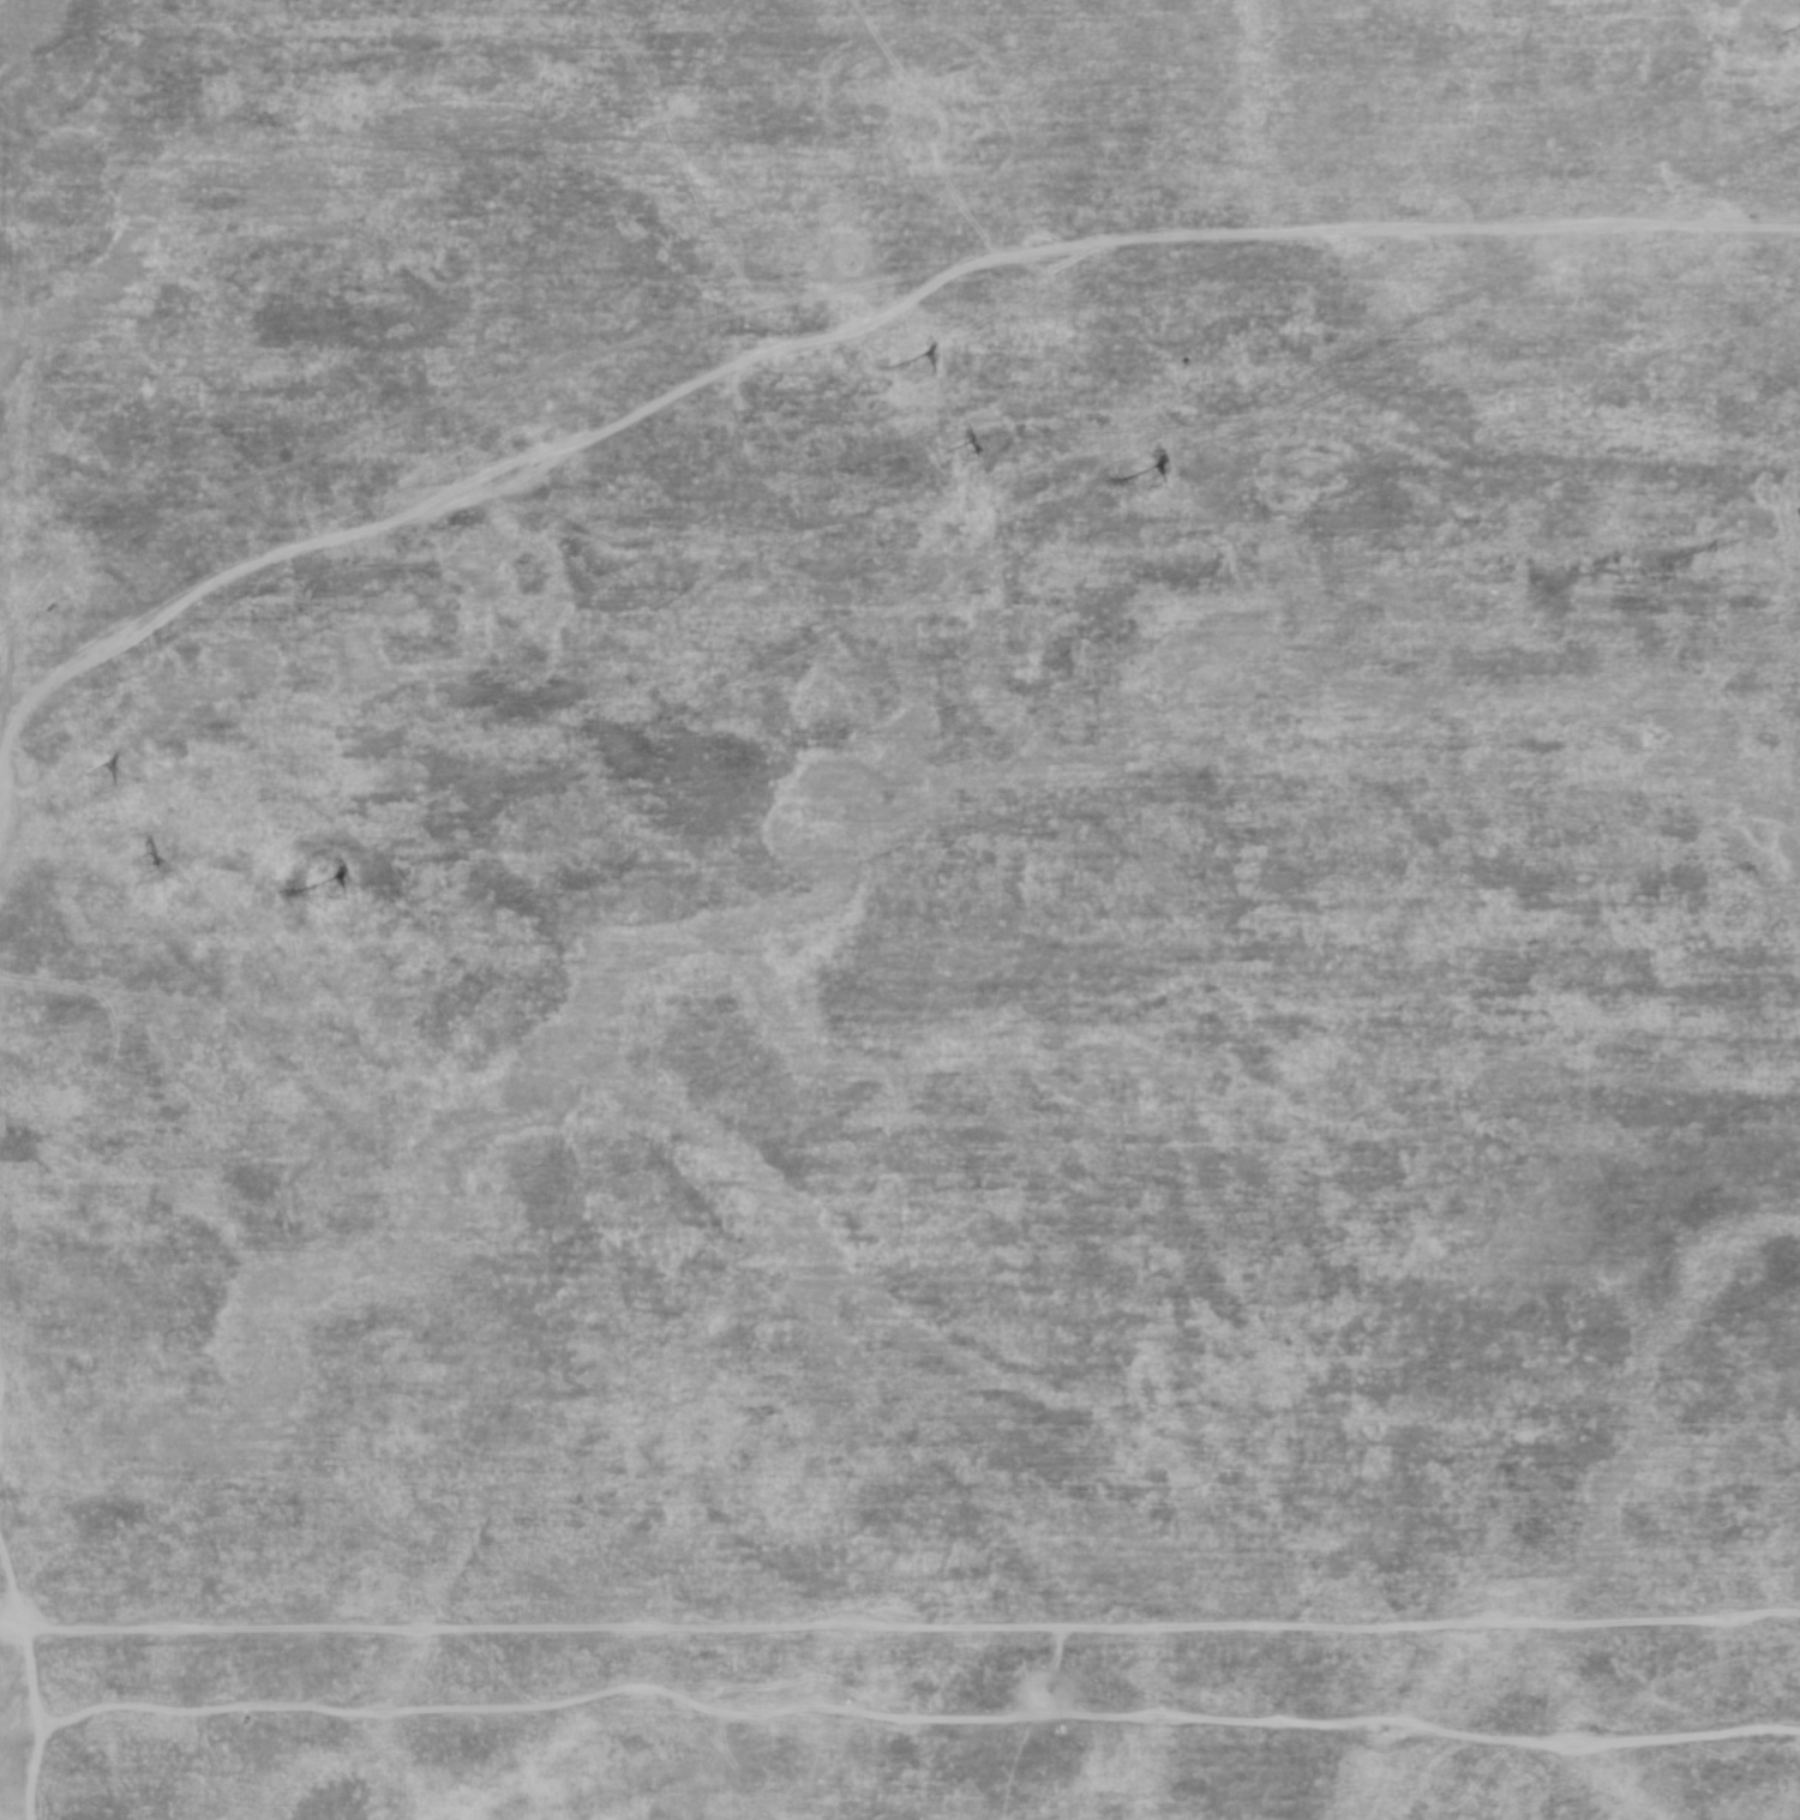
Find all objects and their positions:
power tower: (926, 371)
power tower: (967, 458)
power tower: (1156, 483)
power tower: (103, 783)
power tower: (149, 872)
power tower: (334, 895)

